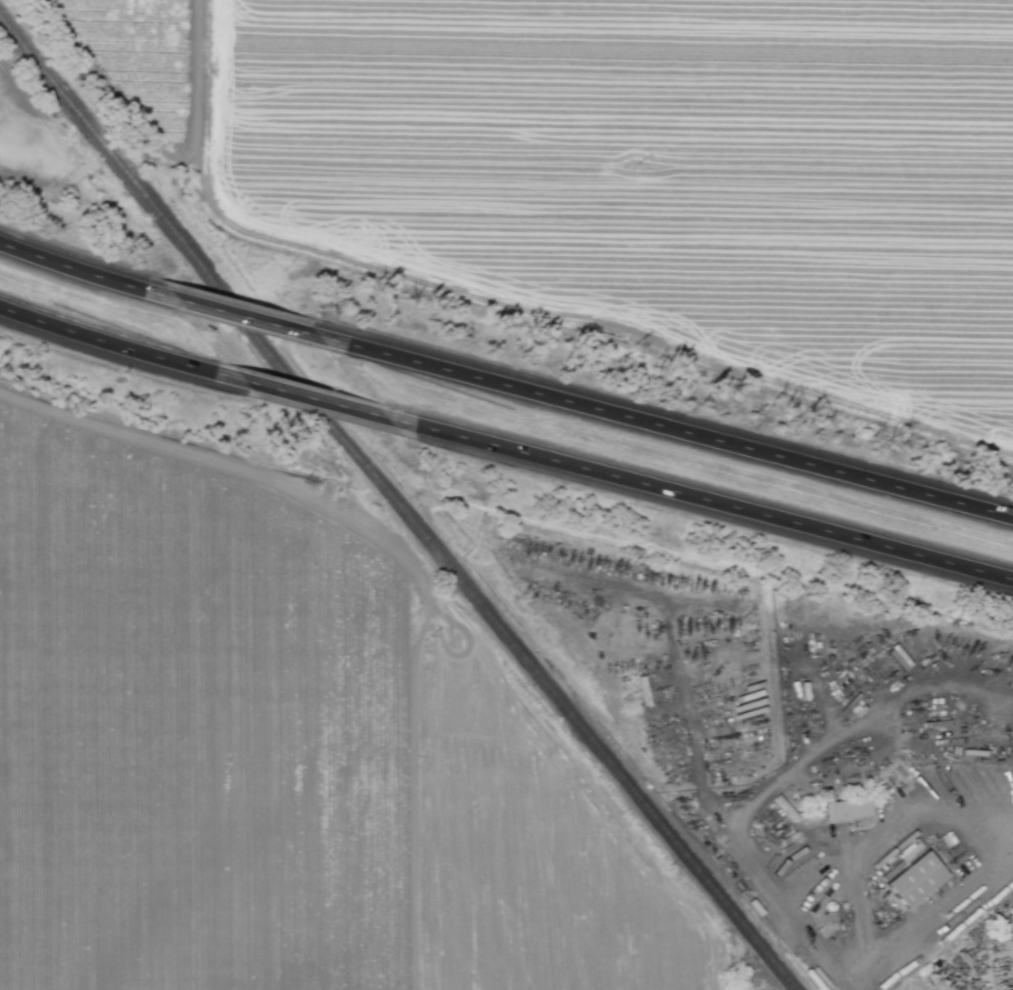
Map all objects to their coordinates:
road: (89, 274)
road: (251, 320)
road: (123, 349)
road: (319, 400)
road: (668, 427)
road: (701, 499)
railway: (397, 505)
road: (406, 559)
crop: (192, 729)
road: (778, 777)
building: (846, 808)
road: (991, 825)
building: (915, 879)
building: (1009, 932)

